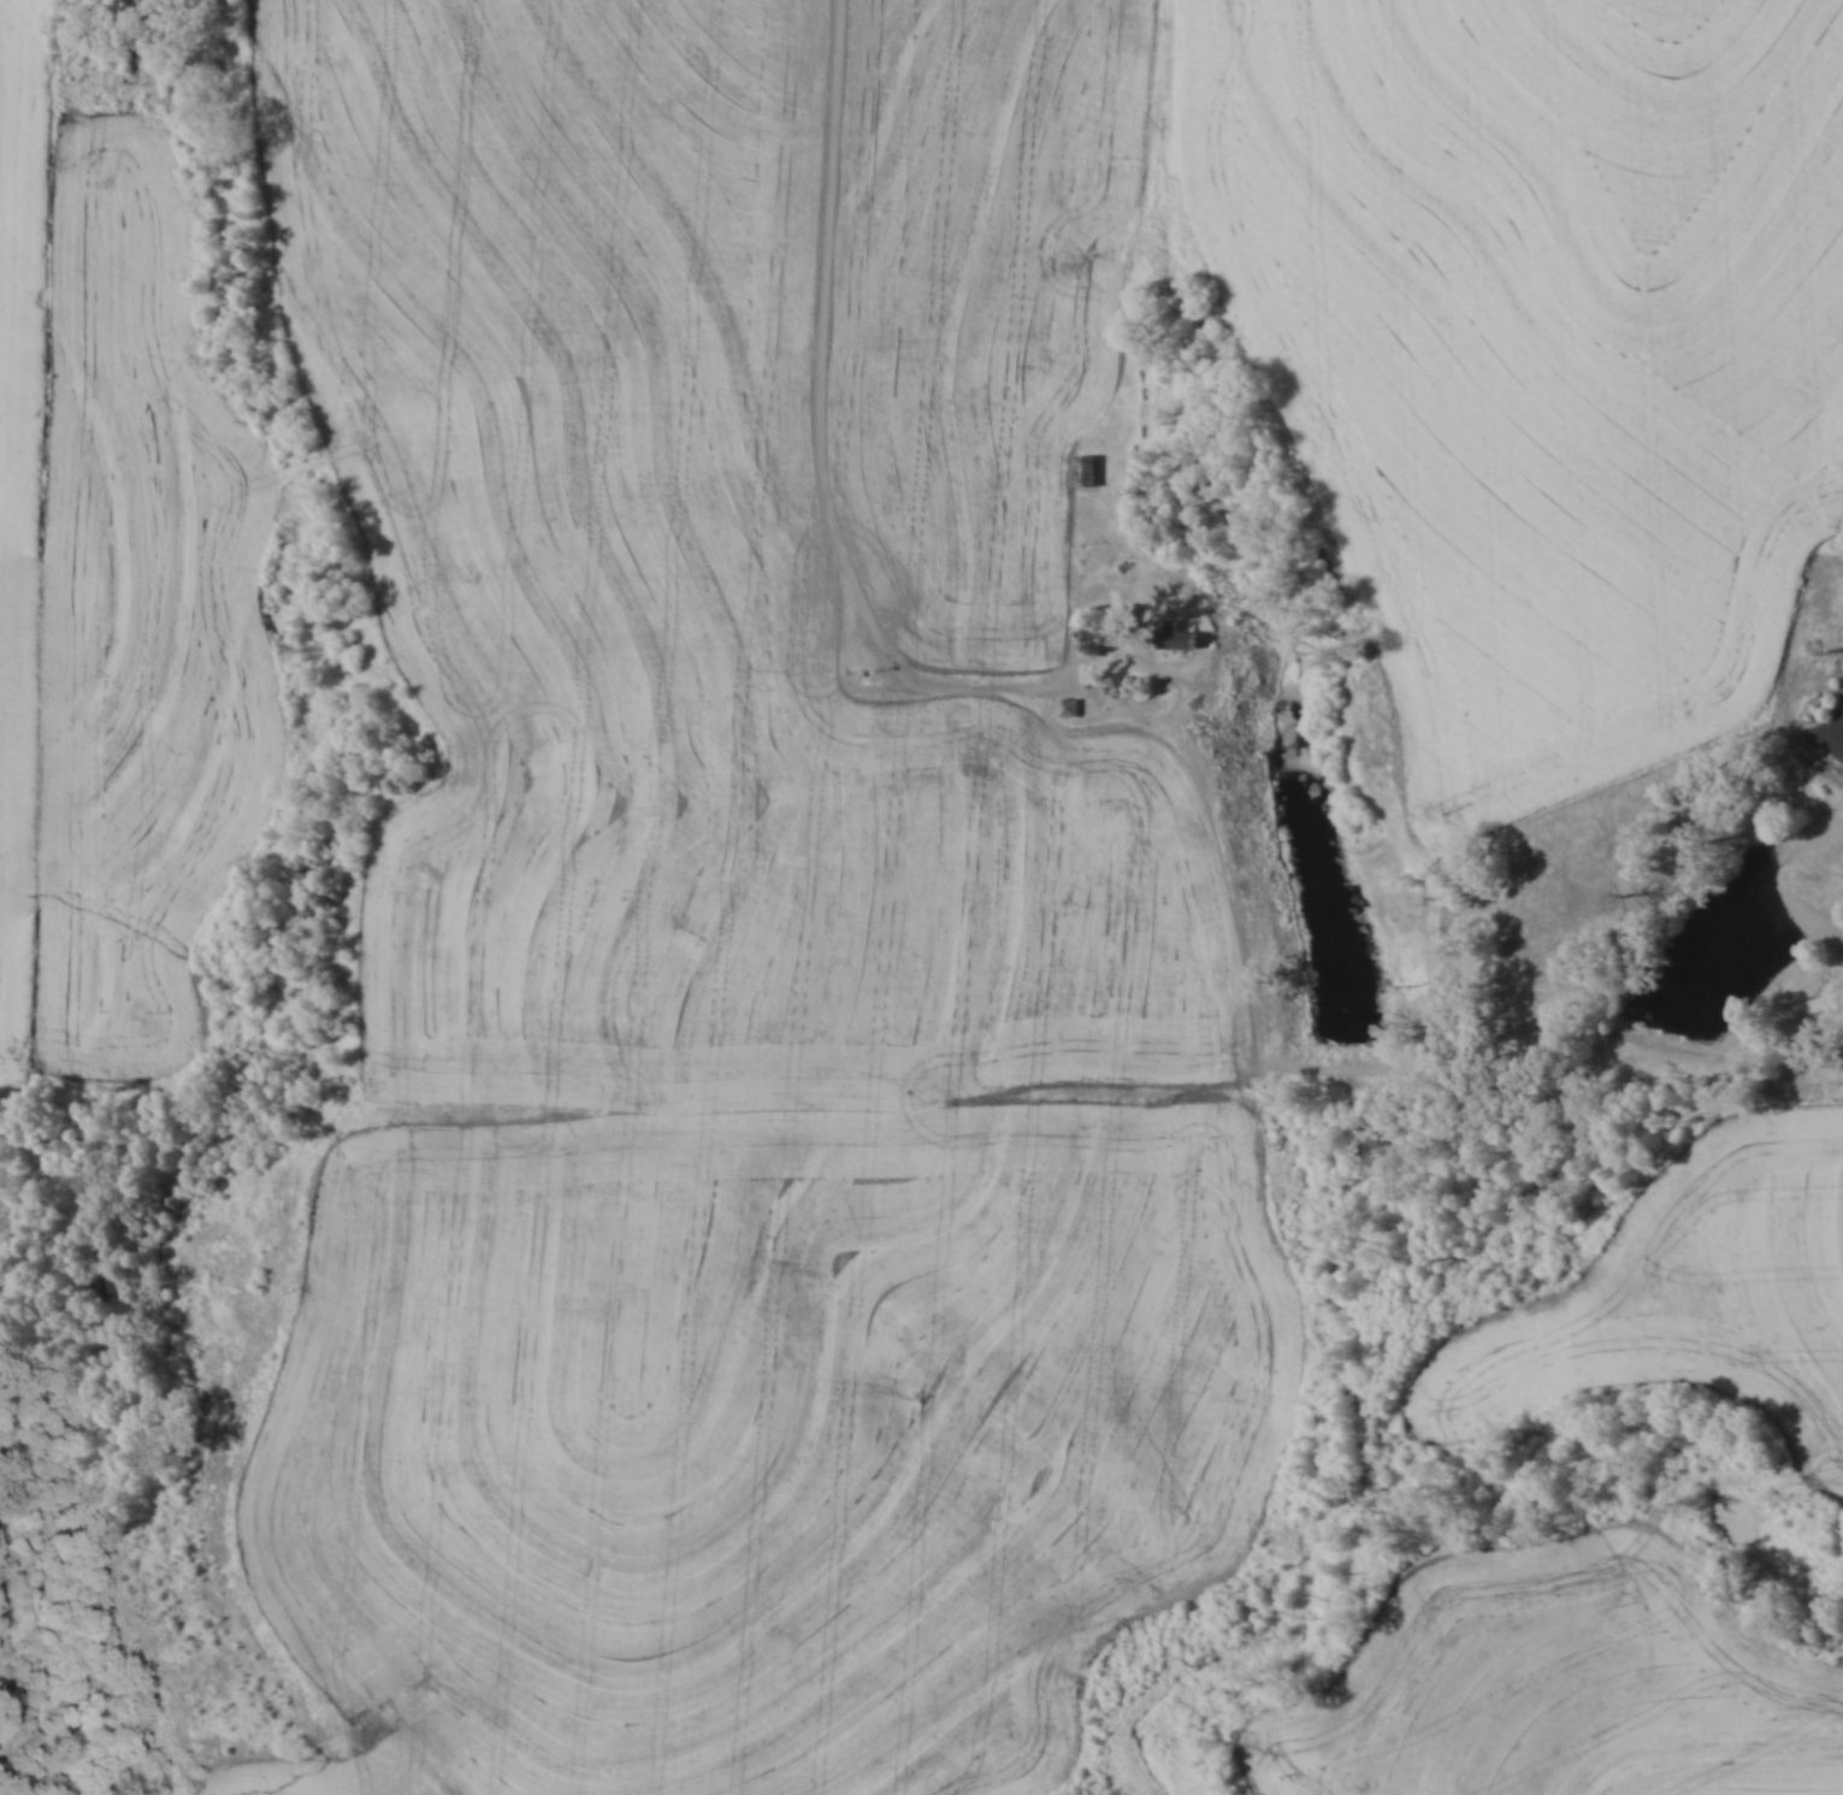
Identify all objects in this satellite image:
building: (1086, 472)
road: (831, 495)
building: (1179, 640)
building: (1070, 709)

